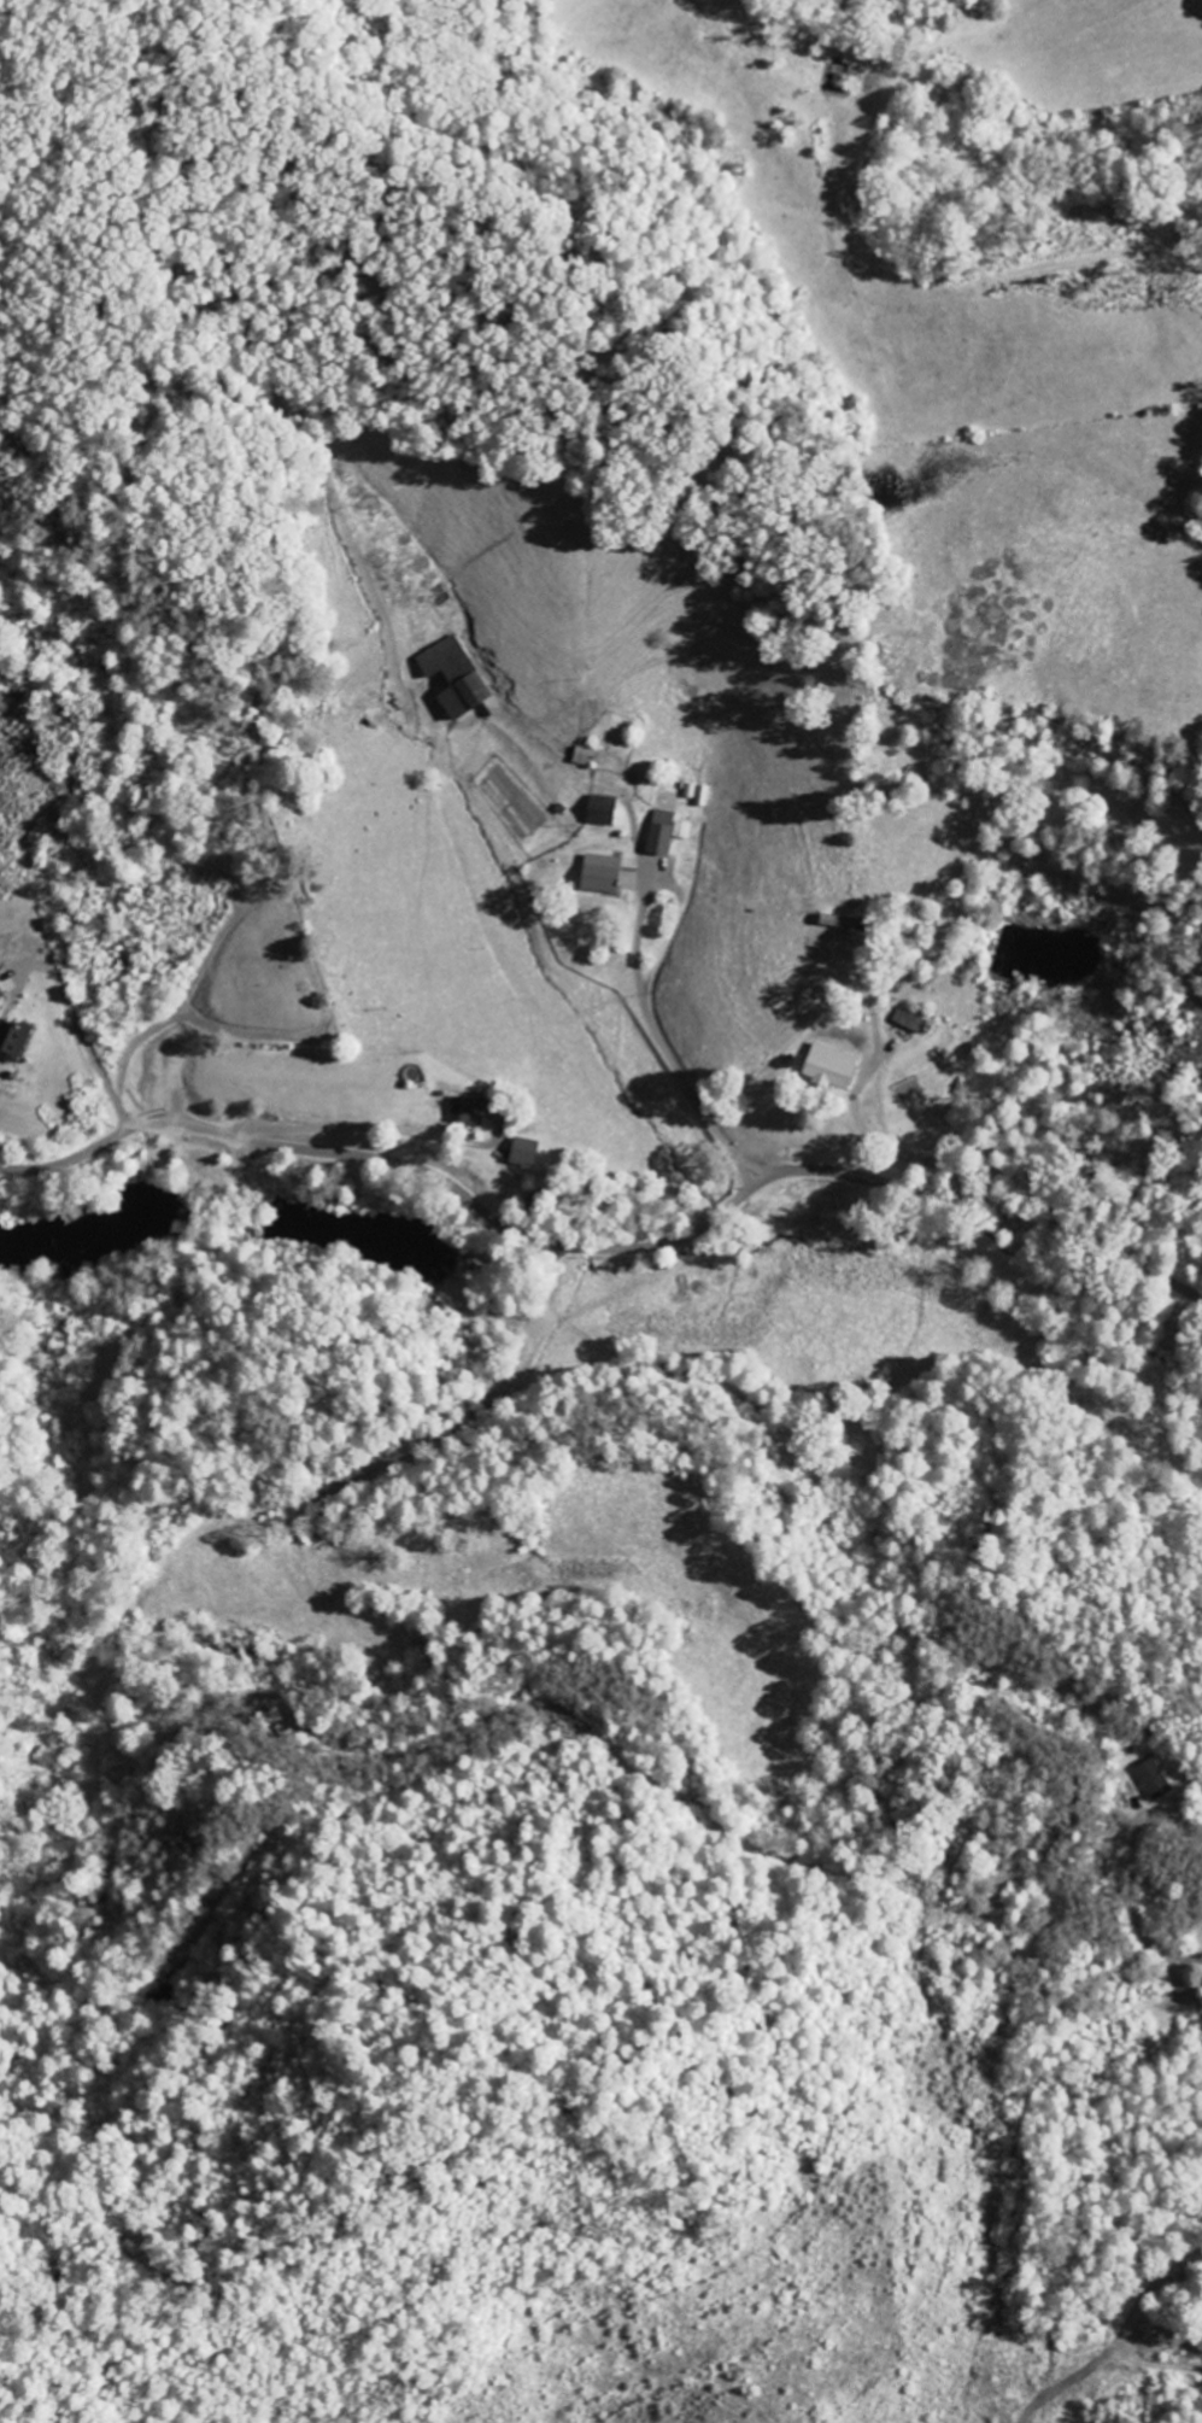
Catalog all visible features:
building: (455, 678)
building: (602, 812)
building: (664, 833)
building: (603, 876)
building: (1, 996)
building: (908, 1022)
building: (13, 1041)
building: (831, 1069)
building: (461, 1112)
building: (526, 1154)
road: (606, 1248)
building: (1154, 1780)
road: (1136, 1913)

